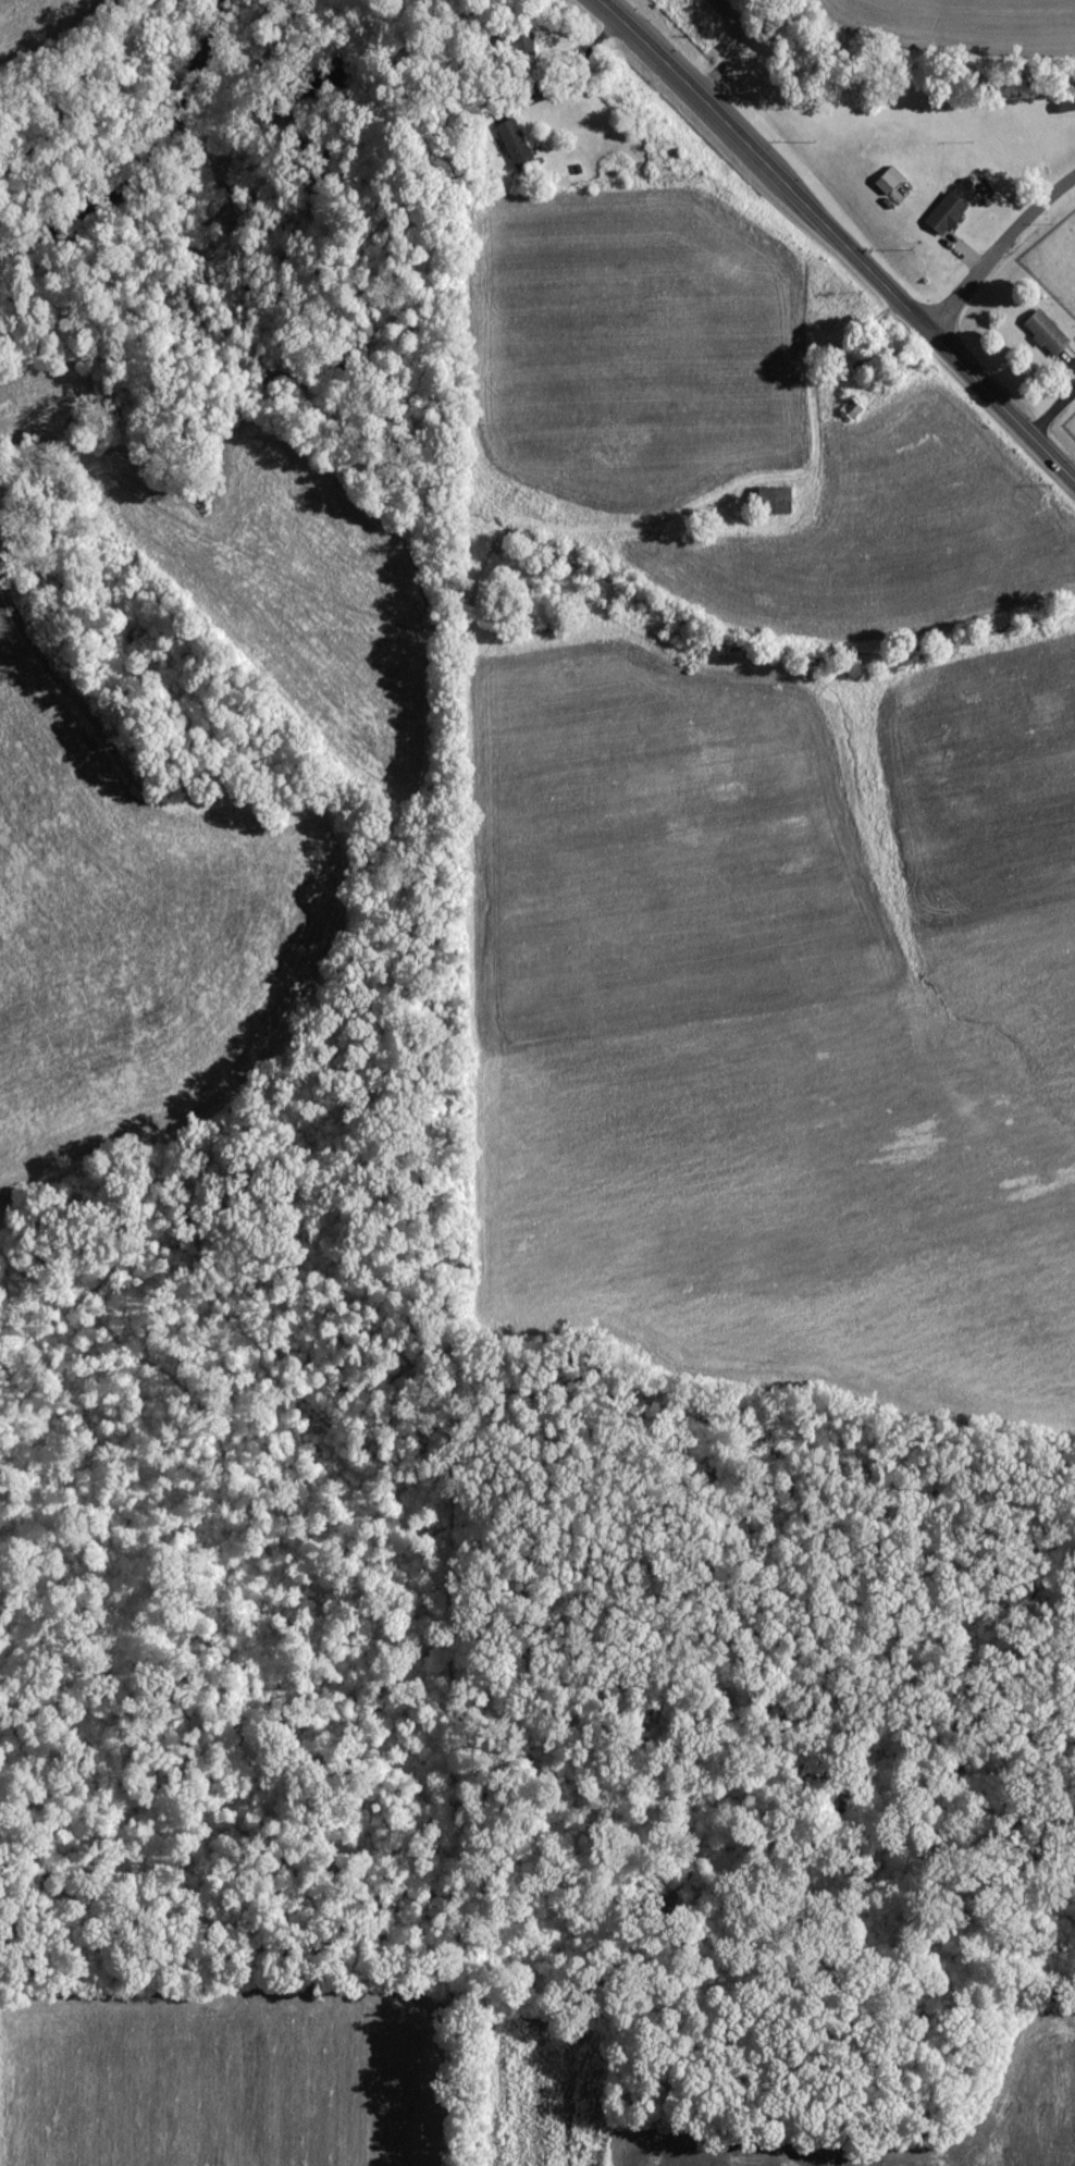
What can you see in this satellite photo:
road: (89, 67)
road: (570, 81)
building: (515, 141)
river: (146, 149)
building: (889, 179)
building: (946, 212)
road: (840, 236)
road: (999, 245)
building: (1046, 331)
building: (776, 499)

